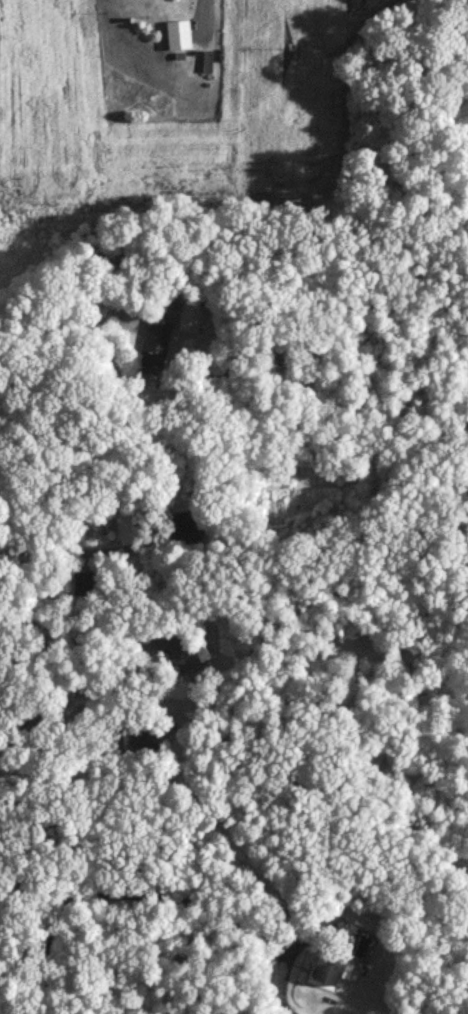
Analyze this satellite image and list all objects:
building: (177, 36)
building: (191, 318)
road: (60, 344)
building: (153, 349)
building: (403, 642)
building: (186, 654)
road: (68, 693)
road: (135, 894)
building: (333, 962)
building: (259, 975)

